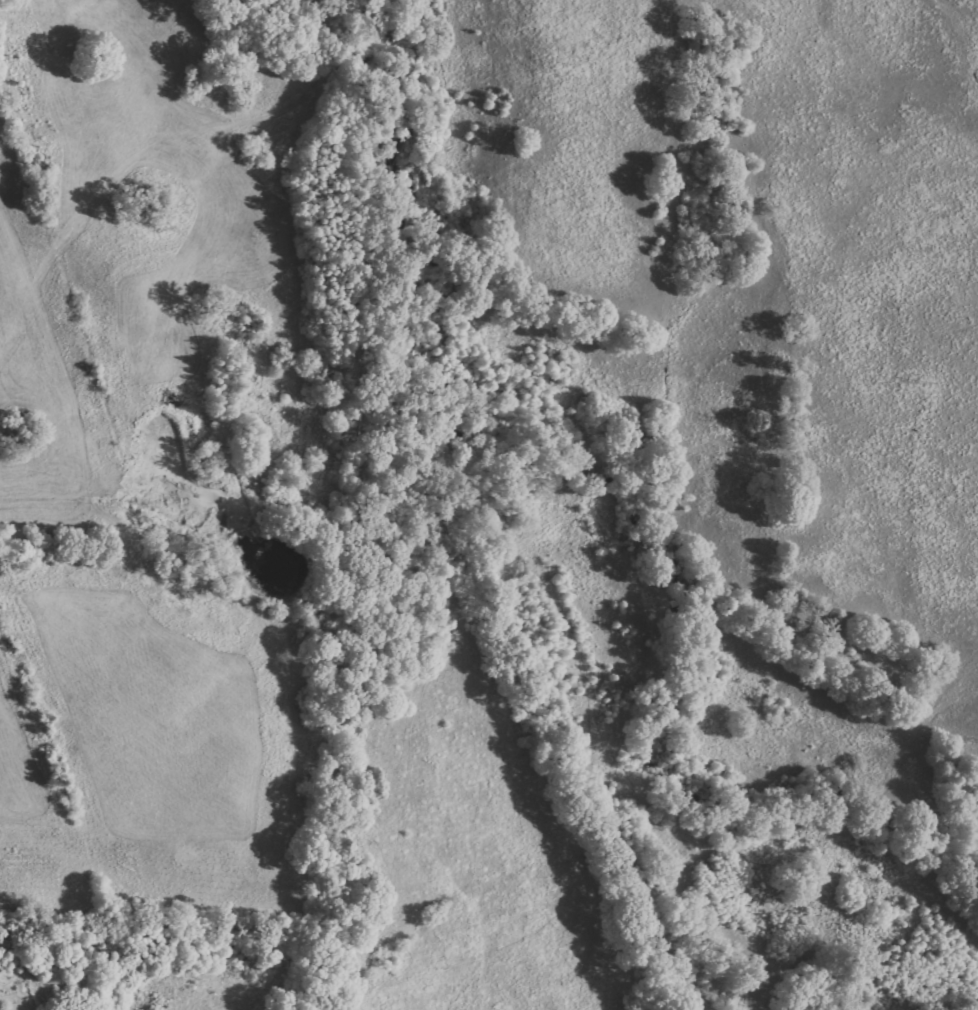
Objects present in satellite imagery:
power tower: (922, 382)

